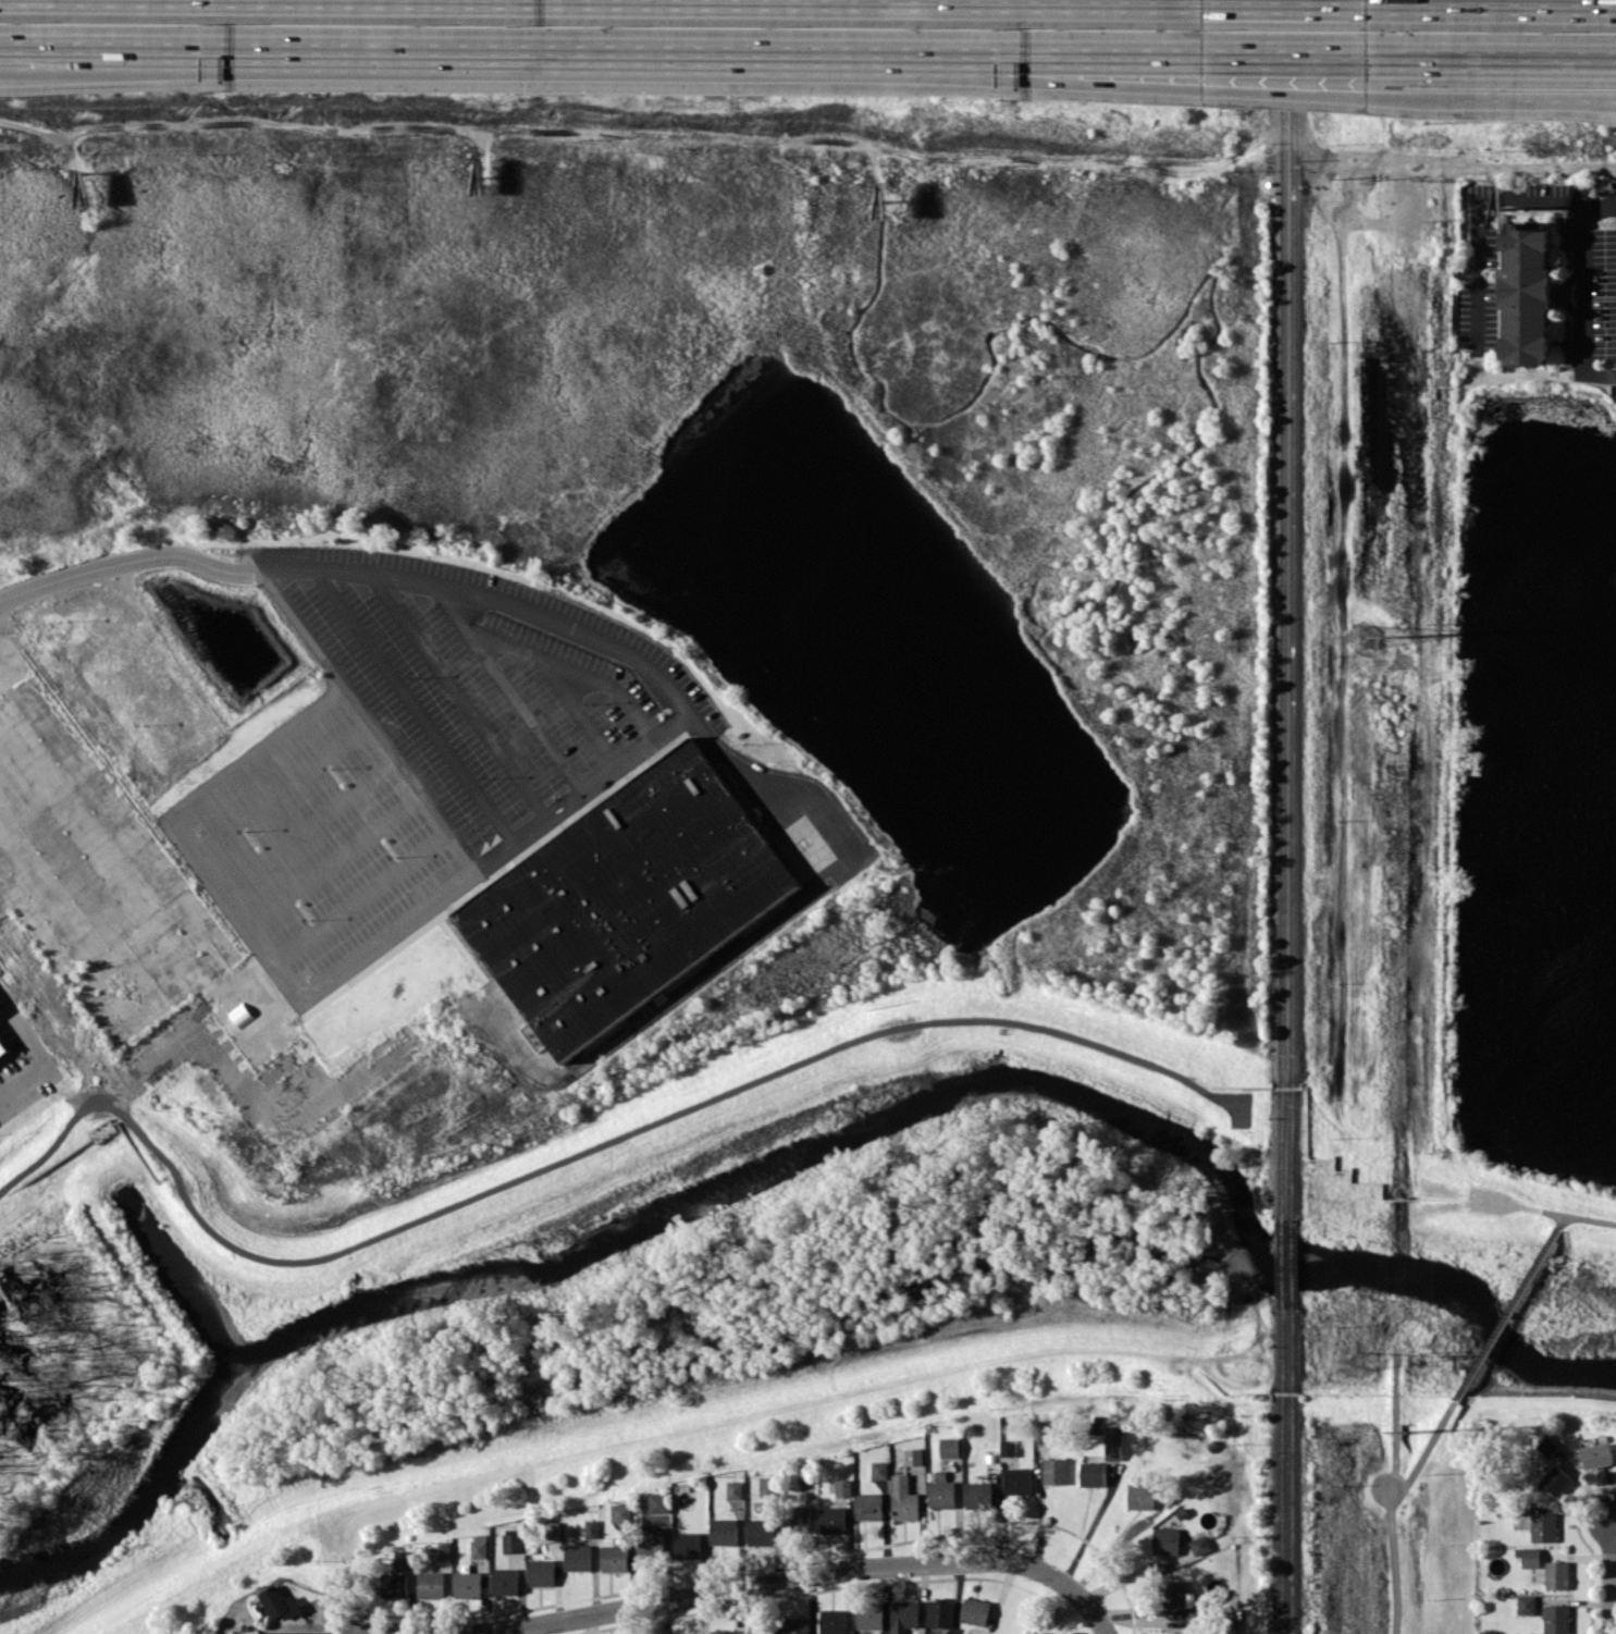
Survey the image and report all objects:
road: (1287, 0)
road: (1493, 1)
road: (372, 51)
road: (975, 56)
road: (1287, 57)
road: (1492, 58)
railway: (1283, 75)
railway: (1293, 75)
road: (974, 78)
road: (1334, 94)
road: (1583, 99)
road: (1507, 100)
road: (1583, 102)
road: (1534, 170)
road: (1477, 201)
building: (1508, 206)
building: (1527, 292)
building: (1565, 293)
road: (1580, 300)
road: (138, 560)
road: (601, 636)
power tower: (1365, 636)
power tower: (1406, 636)
road: (576, 671)
road: (507, 686)
railway: (1292, 687)
railway: (1282, 688)
road: (458, 695)
road: (583, 712)
road: (602, 773)
road: (281, 789)
building: (755, 813)
road: (308, 825)
road: (335, 862)
road: (360, 897)
building: (626, 899)
road: (736, 954)
road: (279, 970)
building: (3, 1048)
road: (29, 1053)
river: (799, 1152)
road: (1591, 1218)
road: (1563, 1221)
railway: (1280, 1269)
railway: (1292, 1269)
road: (1507, 1314)
power tower: (1362, 1361)
building: (1049, 1429)
power tower: (1405, 1430)
building: (1113, 1442)
building: (1547, 1446)
building: (950, 1447)
building: (1008, 1447)
building: (1596, 1454)
building: (914, 1455)
building: (880, 1470)
building: (1056, 1471)
building: (806, 1474)
building: (1093, 1474)
railway: (1280, 1474)
railway: (1291, 1475)
building: (1556, 1479)
building: (1019, 1481)
building: (767, 1485)
building: (843, 1487)
building: (735, 1489)
building: (940, 1489)
building: (978, 1495)
building: (1140, 1496)
road: (1389, 1498)
building: (904, 1499)
building: (659, 1502)
building: (869, 1506)
road: (1390, 1508)
building: (619, 1512)
building: (797, 1519)
building: (832, 1519)
road: (1614, 1519)
building: (1543, 1526)
building: (591, 1527)
road: (1090, 1528)
building: (552, 1529)
building: (725, 1532)
building: (760, 1532)
building: (1165, 1540)
building: (513, 1543)
building: (651, 1545)
building: (687, 1545)
building: (1199, 1545)
building: (479, 1547)
building: (441, 1553)
building: (578, 1557)
building: (1530, 1557)
building: (615, 1558)
building: (405, 1560)
building: (542, 1572)
building: (1557, 1574)
road: (1612, 1576)
building: (505, 1581)
building: (394, 1584)
building: (431, 1584)
building: (468, 1584)
road: (713, 1592)
building: (1182, 1601)
building: (280, 1602)
building: (1526, 1604)
building: (974, 1611)
road: (1093, 1612)
building: (940, 1613)
building: (869, 1615)
building: (904, 1615)
building: (1556, 1619)
building: (832, 1621)
building: (795, 1625)
building: (761, 1629)
road: (342, 1632)
building: (723, 1632)
building: (1045, 1633)

